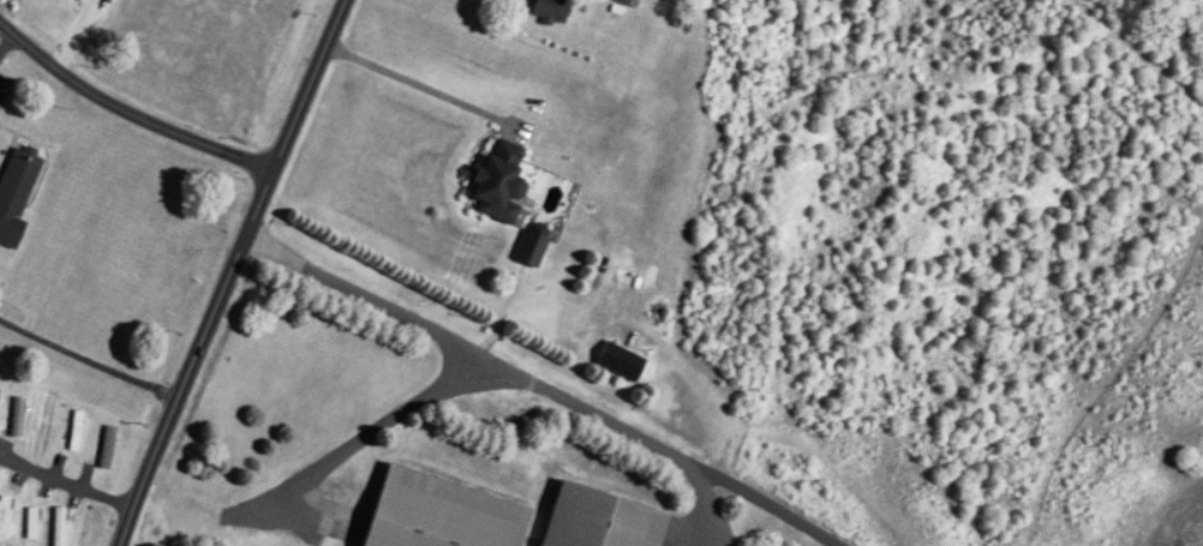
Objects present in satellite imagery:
building: (550, 10)
road: (7, 41)
road: (425, 86)
road: (122, 109)
building: (498, 180)
building: (17, 193)
building: (531, 246)
road: (222, 270)
road: (84, 359)
road: (541, 385)
building: (18, 418)
road: (377, 425)
road: (62, 481)
building: (439, 514)
building: (598, 521)
building: (58, 528)

